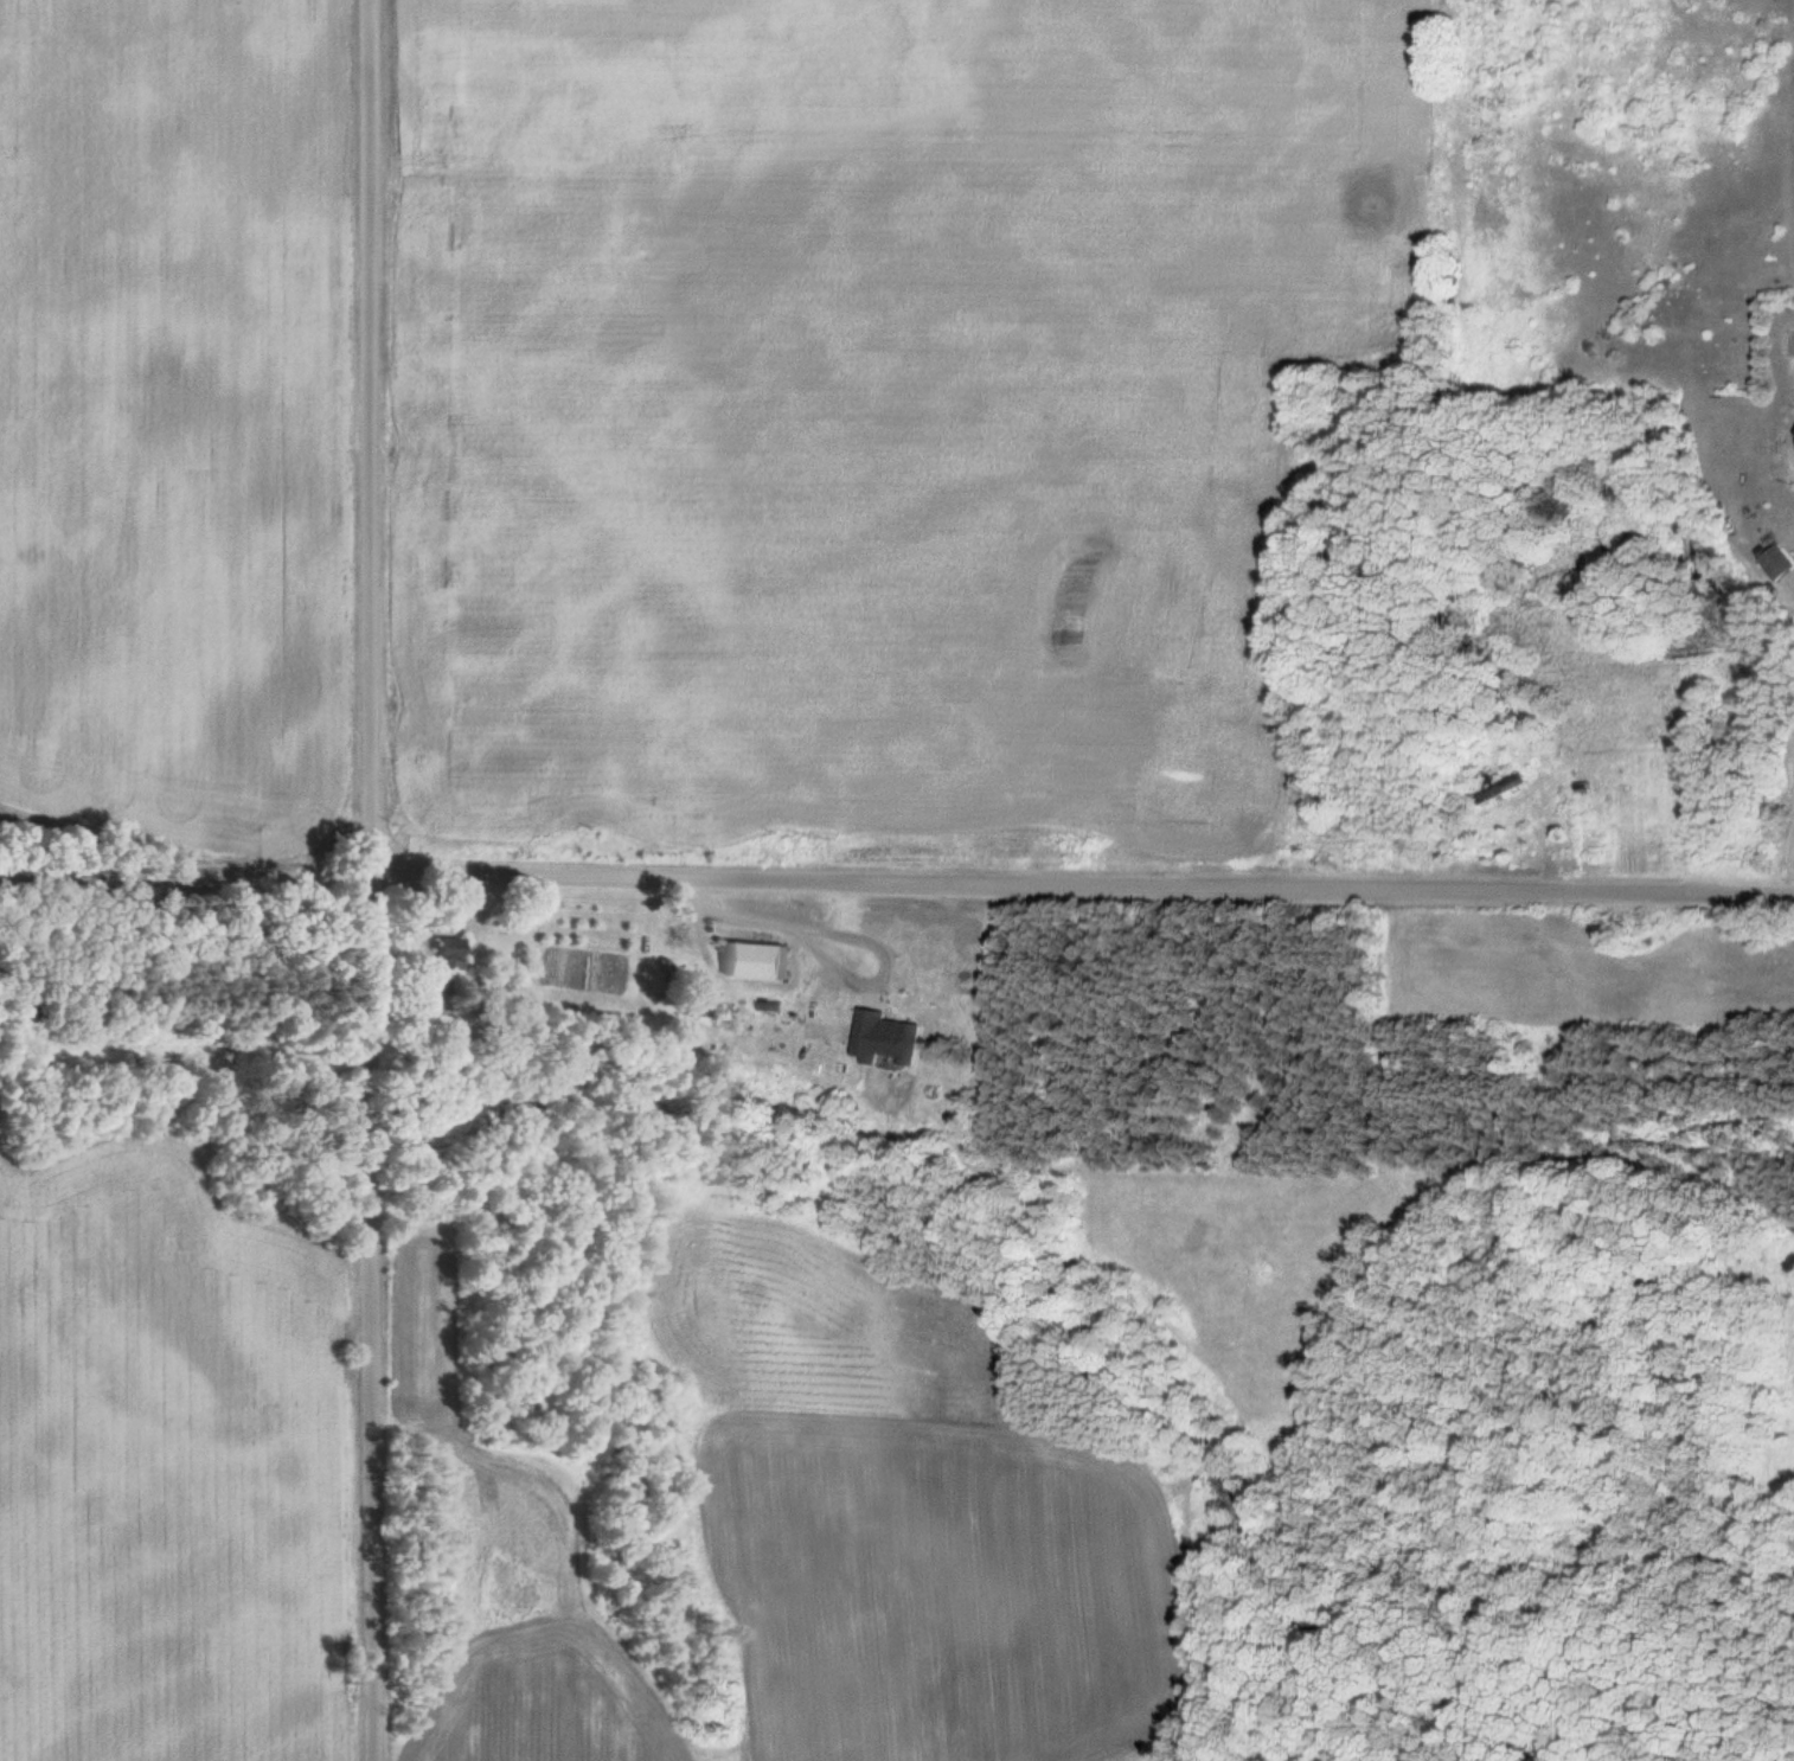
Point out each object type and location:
building: (1781, 562)
building: (1513, 785)
road: (896, 873)
road: (373, 879)
building: (449, 958)
building: (763, 960)
building: (893, 1037)

